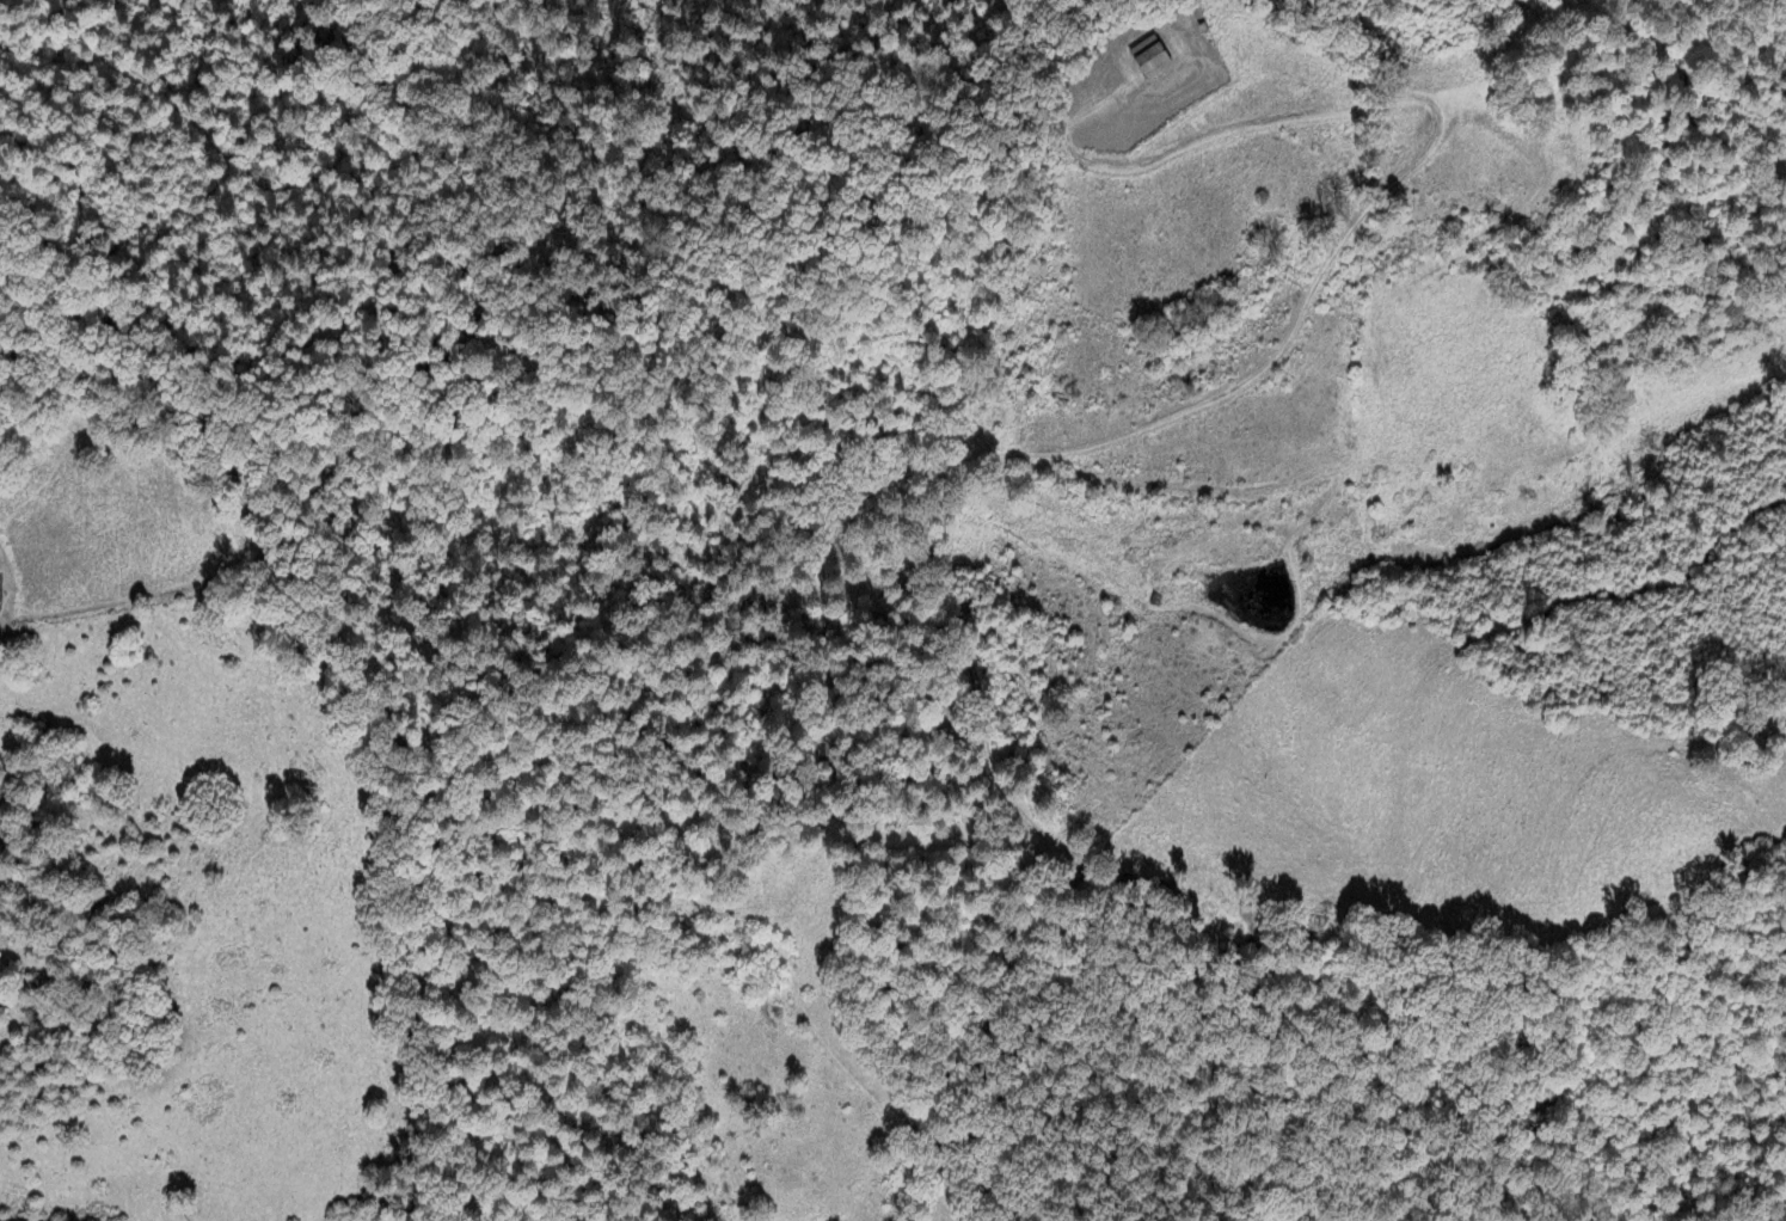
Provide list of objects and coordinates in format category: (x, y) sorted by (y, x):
building: (1158, 57)

